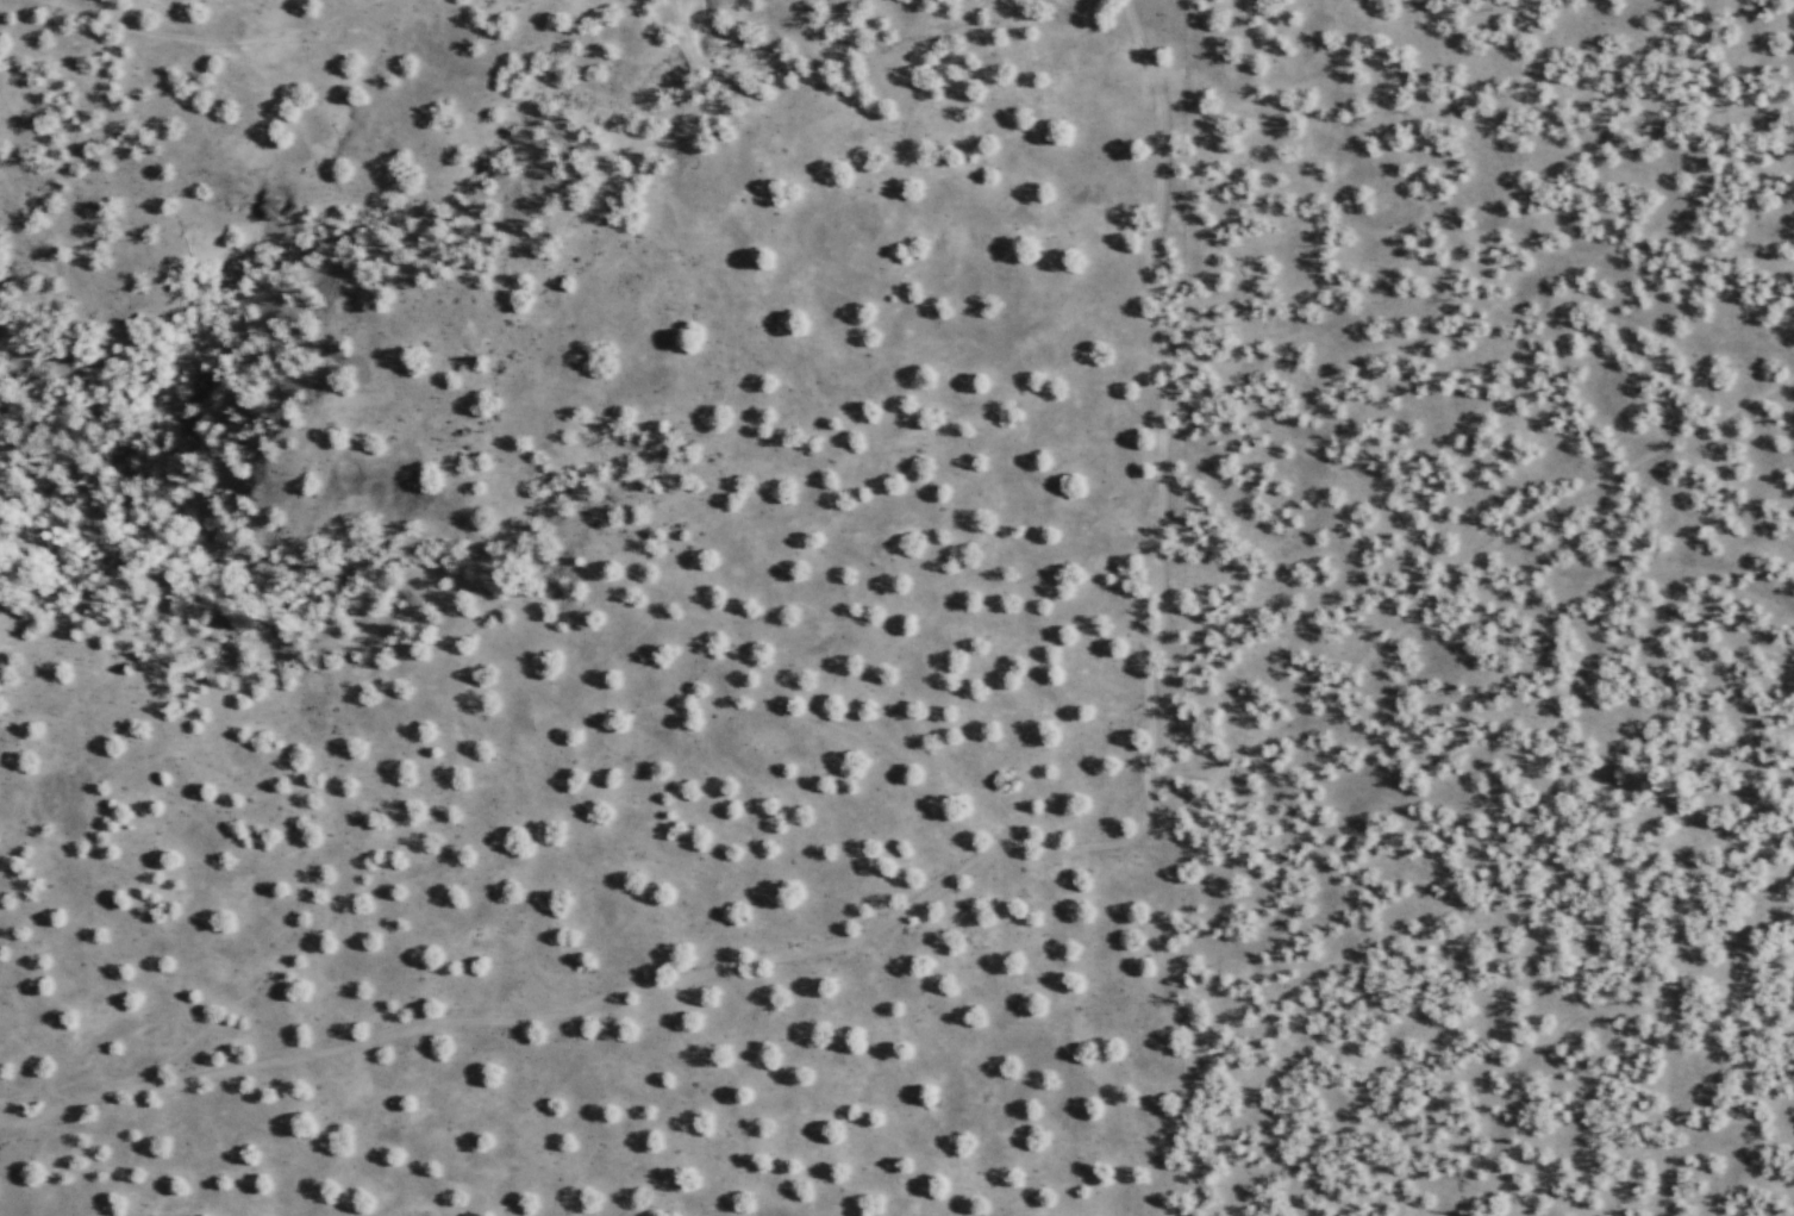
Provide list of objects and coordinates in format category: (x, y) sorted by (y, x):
road: (210, 37)
road: (1165, 387)
road: (1458, 565)
road: (602, 996)

